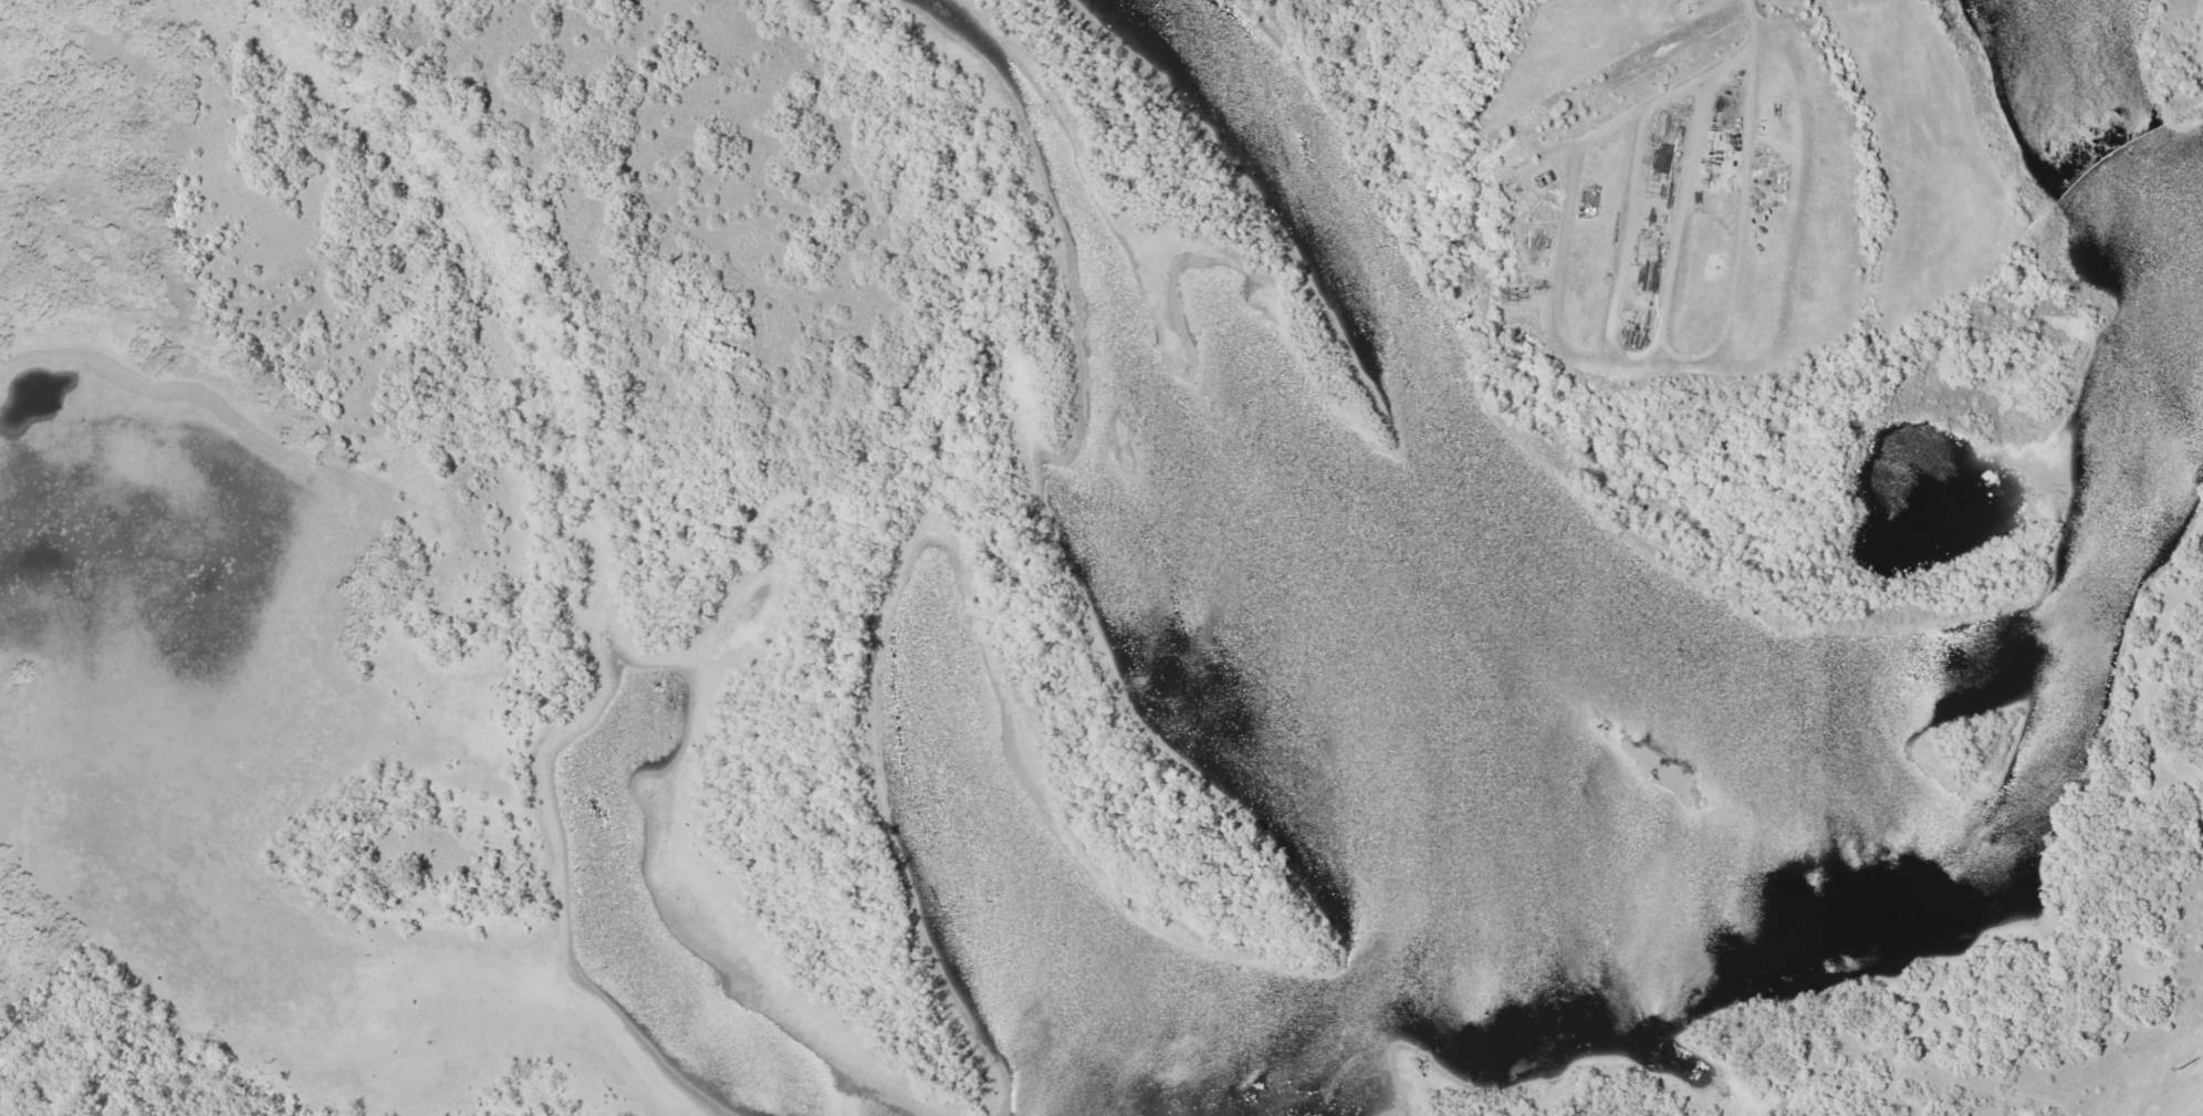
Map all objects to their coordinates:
power plant: (2178, 53)
power plant: (1695, 226)

